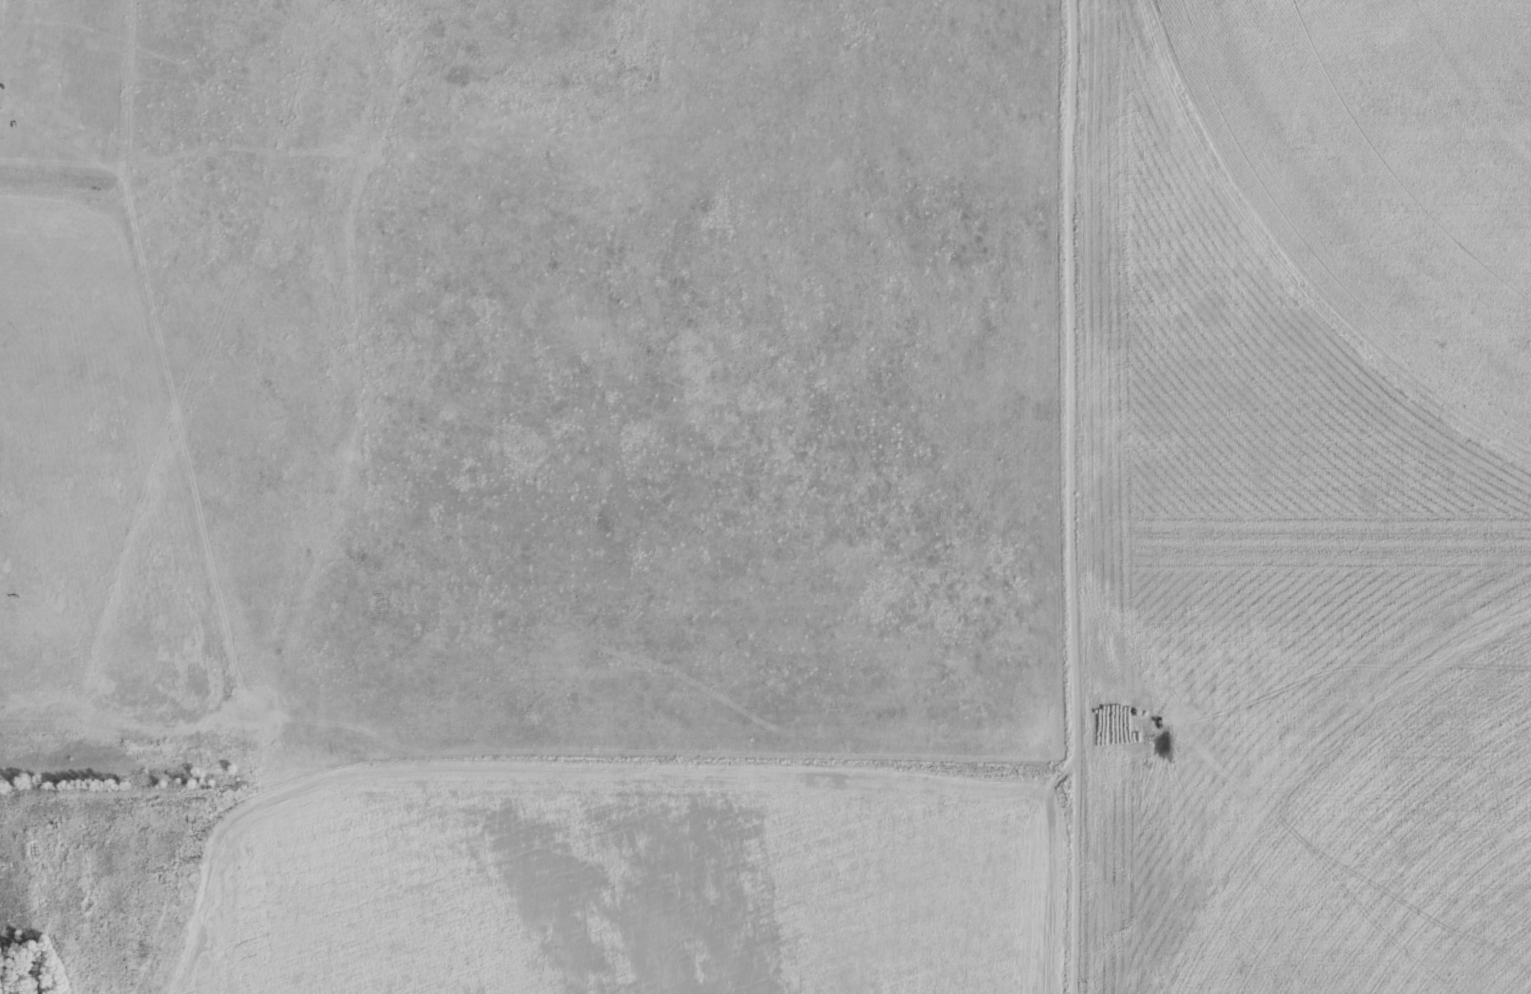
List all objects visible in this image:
road: (1059, 496)

